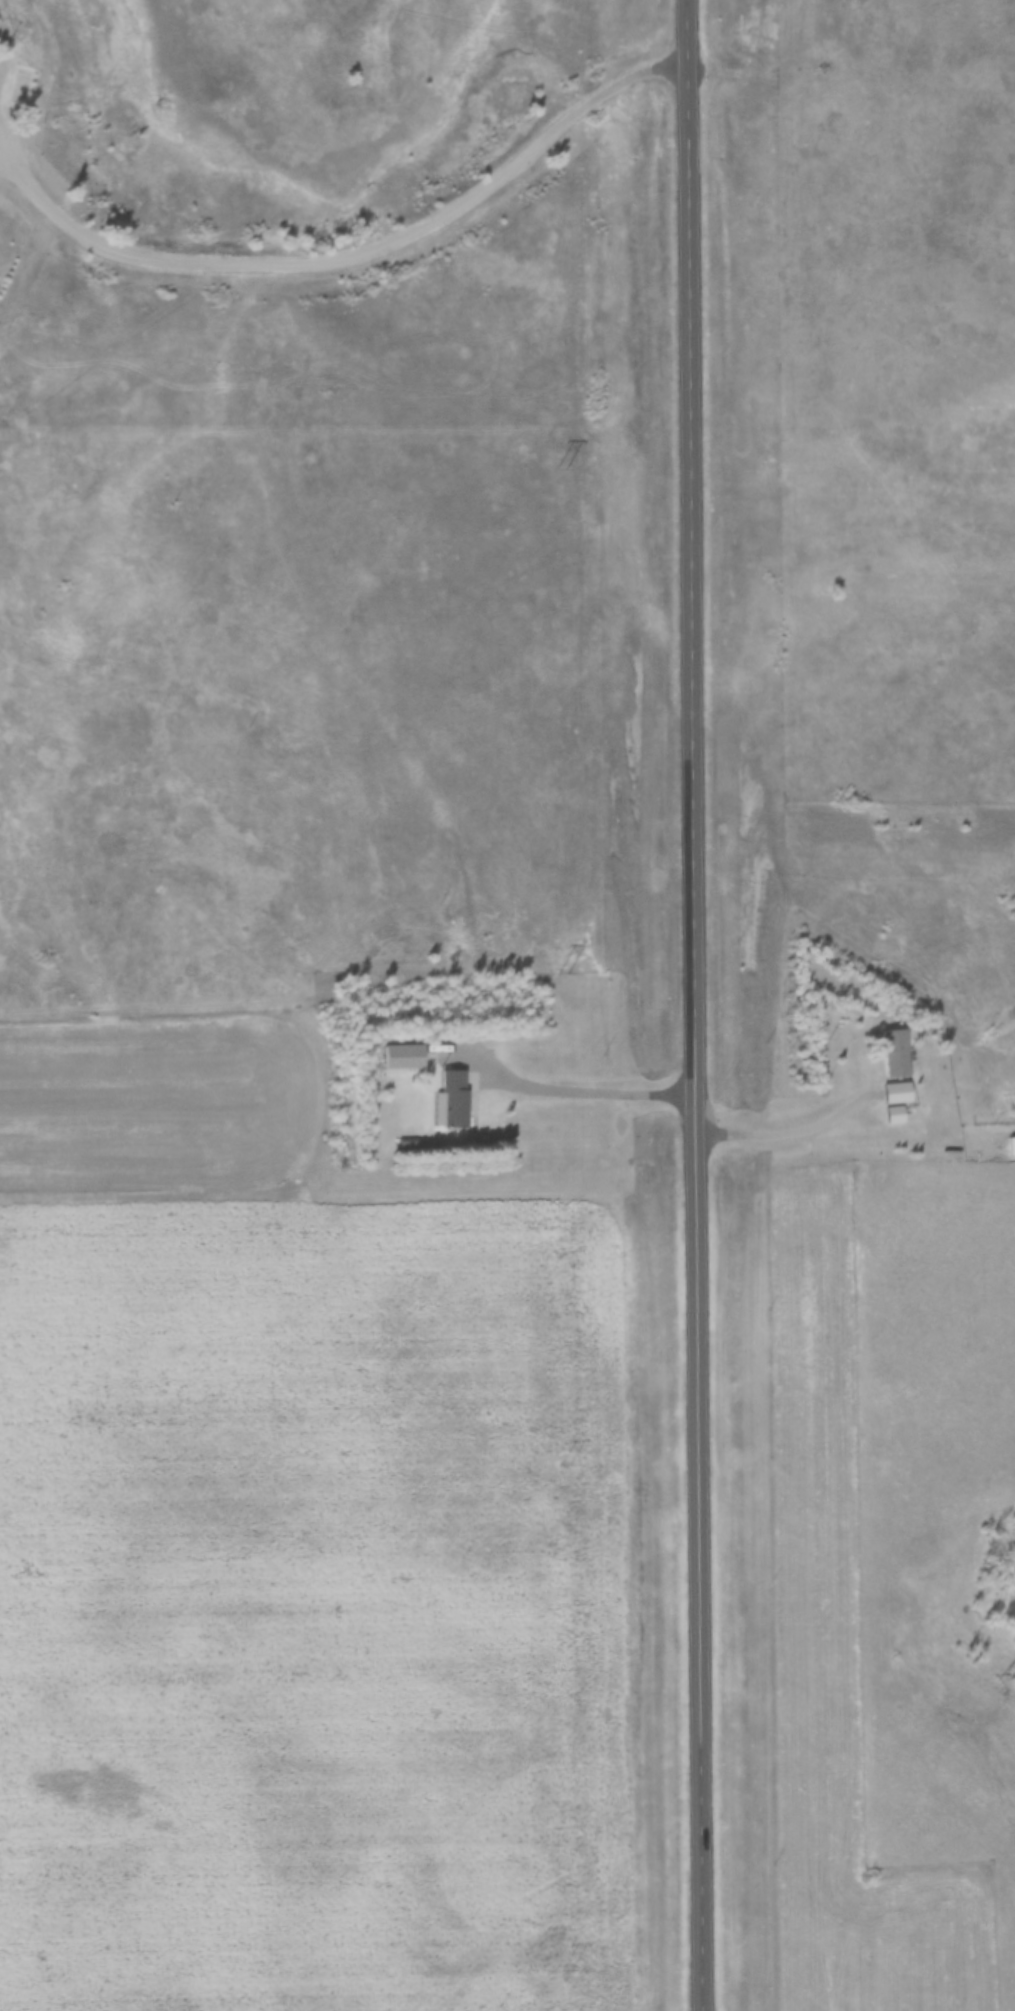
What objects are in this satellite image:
building: (16, 94)
road: (356, 253)
road: (696, 1005)
building: (904, 1060)
road: (595, 1090)
building: (893, 1091)
building: (454, 1099)
road: (903, 1122)
road: (793, 1129)
building: (1009, 1145)

